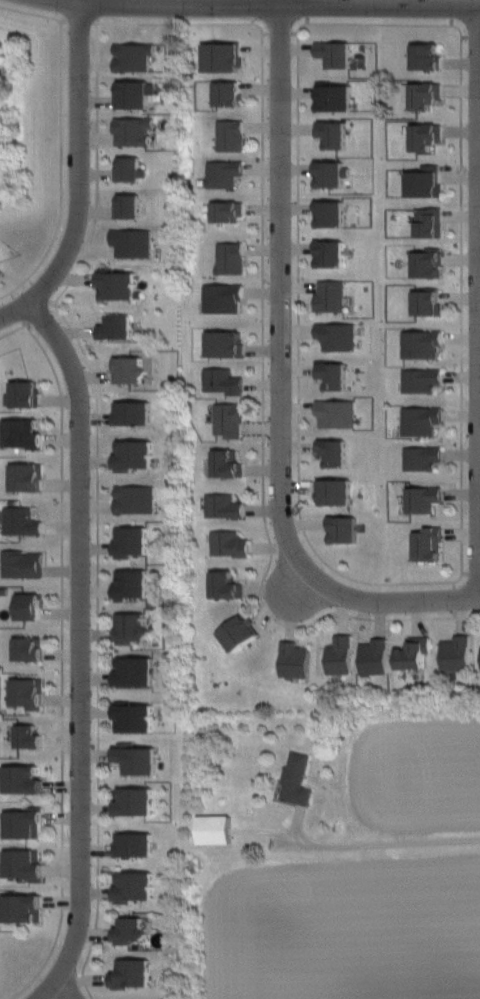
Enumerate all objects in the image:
road: (279, 9)
building: (135, 55)
building: (224, 56)
building: (337, 56)
building: (429, 57)
building: (230, 93)
building: (427, 93)
building: (136, 95)
building: (337, 97)
park: (33, 115)
building: (137, 130)
building: (335, 134)
building: (426, 135)
building: (233, 136)
road: (63, 142)
building: (133, 169)
building: (226, 173)
building: (333, 174)
road: (78, 175)
building: (426, 181)
building: (130, 207)
building: (229, 212)
building: (333, 214)
building: (431, 221)
building: (134, 242)
building: (333, 254)
building: (233, 257)
building: (429, 262)
building: (2, 266)
building: (119, 287)
road: (280, 289)
building: (334, 297)
building: (225, 298)
building: (430, 302)
road: (479, 306)
road: (2, 312)
building: (118, 326)
building: (339, 334)
building: (226, 344)
building: (423, 345)
road: (266, 348)
building: (133, 370)
building: (335, 374)
building: (423, 380)
building: (225, 381)
building: (24, 394)
building: (135, 413)
building: (339, 413)
building: (423, 419)
building: (231, 420)
building: (25, 432)
building: (335, 451)
building: (136, 454)
building: (425, 458)
building: (230, 464)
building: (28, 476)
building: (338, 492)
building: (138, 499)
building: (425, 499)
road: (100, 502)
building: (226, 506)
building: (23, 520)
building: (346, 530)
building: (133, 541)
building: (232, 543)
building: (430, 543)
road: (464, 551)
building: (24, 563)
building: (133, 583)
building: (229, 585)
road: (389, 602)
building: (31, 605)
building: (133, 627)
building: (242, 633)
building: (30, 650)
road: (65, 650)
road: (78, 650)
building: (459, 653)
building: (416, 654)
building: (343, 655)
building: (378, 656)
building: (297, 660)
building: (138, 671)
building: (28, 691)
building: (135, 716)
building: (30, 735)
building: (137, 758)
crop: (414, 772)
building: (296, 778)
building: (24, 779)
building: (137, 801)
building: (24, 824)
building: (216, 829)
building: (136, 845)
road: (372, 846)
building: (25, 864)
building: (136, 885)
building: (24, 908)
crop: (341, 928)
building: (131, 929)
building: (133, 973)

